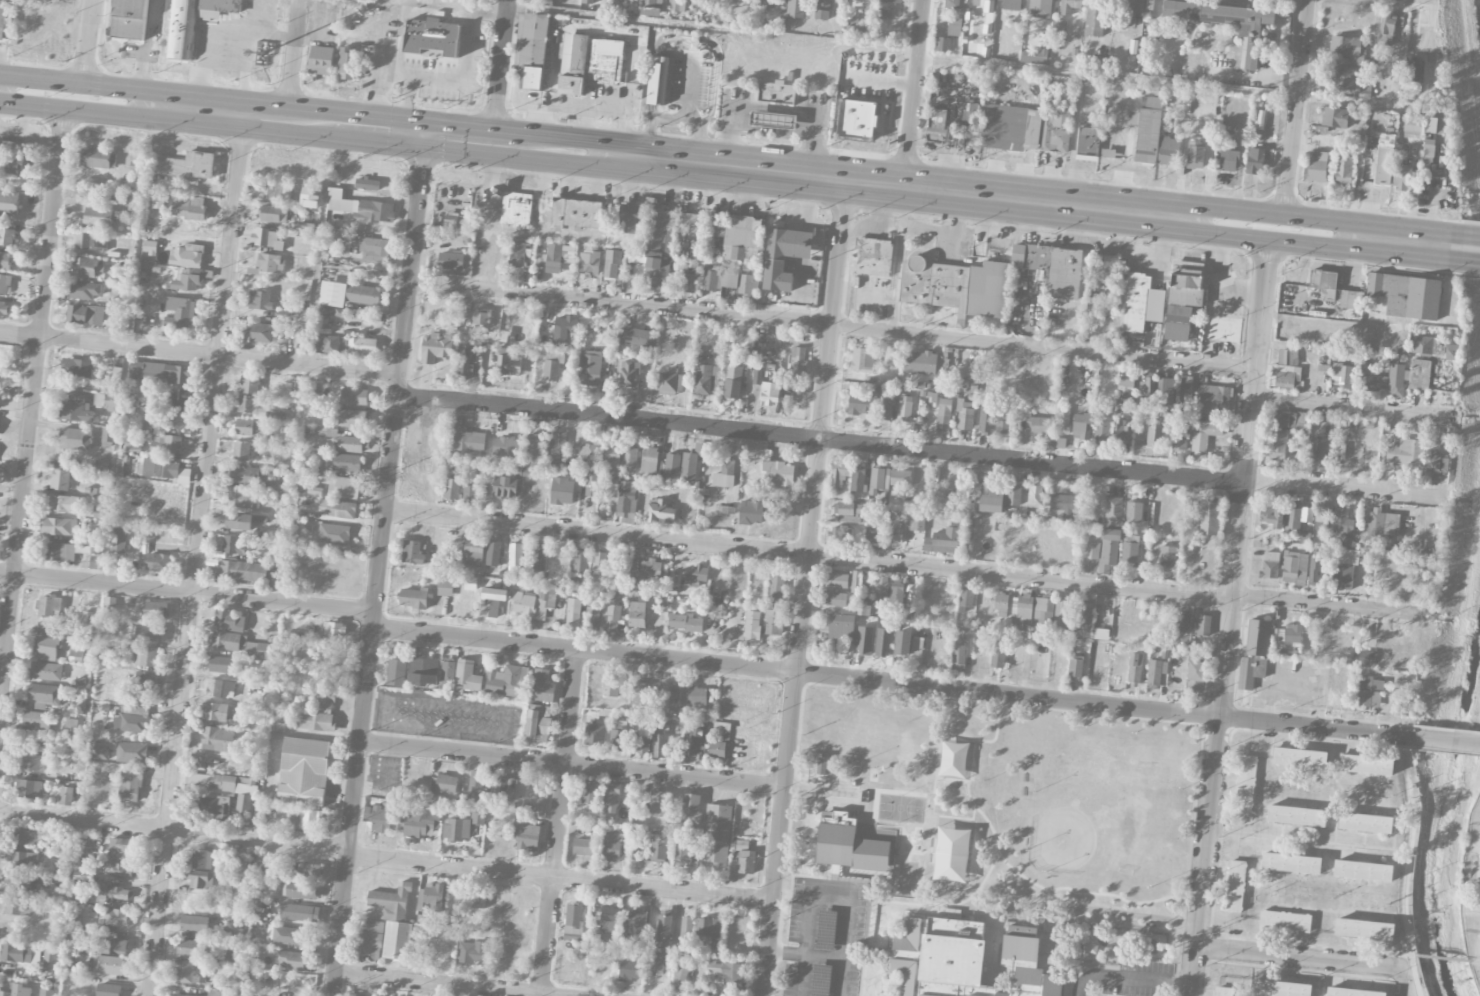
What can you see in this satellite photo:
building: (628, 0)
building: (891, 1)
building: (588, 2)
building: (767, 3)
building: (952, 4)
building: (677, 5)
building: (984, 5)
building: (1011, 5)
building: (1069, 6)
building: (1041, 8)
building: (795, 9)
building: (823, 10)
building: (1130, 10)
building: (650, 12)
building: (3, 18)
building: (129, 20)
building: (1093, 21)
building: (193, 23)
building: (954, 27)
building: (1059, 27)
building: (1249, 30)
building: (1386, 30)
building: (432, 37)
building: (942, 45)
building: (1348, 48)
road: (89, 50)
building: (532, 50)
road: (913, 55)
building: (1039, 56)
road: (293, 61)
building: (320, 61)
building: (590, 63)
building: (1415, 70)
building: (347, 71)
road: (500, 72)
building: (1344, 78)
building: (658, 81)
road: (448, 83)
building: (1364, 90)
building: (777, 93)
road: (915, 94)
building: (1064, 97)
building: (1151, 101)
road: (568, 105)
road: (1296, 106)
building: (969, 116)
road: (623, 117)
building: (1335, 117)
road: (678, 121)
building: (774, 121)
building: (938, 124)
building: (1430, 125)
building: (1012, 127)
building: (1413, 127)
building: (1056, 130)
building: (1146, 134)
building: (1088, 142)
building: (9, 147)
building: (1169, 151)
building: (1107, 153)
building: (1195, 154)
road: (594, 156)
building: (98, 159)
building: (1385, 159)
building: (1229, 160)
building: (1255, 160)
building: (1430, 161)
building: (10, 166)
building: (187, 166)
building: (1317, 166)
building: (1343, 169)
building: (1402, 176)
building: (367, 184)
building: (270, 193)
building: (310, 199)
building: (9, 203)
building: (158, 203)
building: (361, 208)
building: (190, 209)
building: (516, 210)
road: (1282, 212)
building: (576, 214)
building: (271, 215)
building: (100, 217)
building: (454, 220)
building: (629, 220)
building: (688, 220)
building: (659, 227)
building: (7, 235)
building: (266, 239)
building: (90, 242)
road: (1278, 243)
road: (1411, 244)
building: (669, 245)
building: (716, 246)
building: (149, 247)
building: (375, 250)
road: (1465, 250)
building: (730, 251)
building: (517, 255)
building: (186, 256)
building: (784, 257)
building: (874, 258)
building: (549, 259)
building: (5, 261)
building: (451, 261)
building: (590, 261)
road: (899, 261)
building: (269, 263)
building: (612, 264)
building: (1107, 266)
building: (87, 267)
building: (1052, 267)
building: (657, 272)
building: (119, 278)
building: (187, 282)
building: (1324, 283)
building: (4, 284)
building: (688, 284)
building: (748, 286)
building: (956, 286)
building: (1185, 290)
building: (85, 291)
building: (333, 295)
building: (365, 295)
building: (1407, 295)
building: (1351, 299)
building: (260, 301)
building: (1136, 302)
building: (4, 310)
building: (180, 313)
building: (85, 315)
building: (481, 318)
building: (1177, 323)
road: (833, 326)
building: (565, 329)
building: (1223, 329)
building: (259, 333)
building: (637, 340)
building: (297, 342)
building: (329, 345)
building: (1424, 345)
building: (361, 347)
building: (435, 349)
building: (1451, 352)
road: (199, 354)
building: (1287, 357)
building: (862, 360)
building: (797, 362)
building: (463, 363)
building: (508, 363)
building: (922, 363)
building: (118, 366)
building: (77, 368)
building: (592, 369)
building: (551, 370)
building: (160, 373)
building: (629, 374)
building: (1418, 374)
building: (1340, 376)
building: (757, 377)
building: (1285, 377)
building: (1370, 378)
building: (707, 380)
building: (1396, 380)
building: (733, 382)
building: (671, 384)
building: (249, 385)
building: (1105, 386)
building: (971, 388)
building: (1126, 388)
building: (1146, 389)
building: (1184, 392)
building: (770, 394)
building: (1166, 395)
building: (354, 397)
building: (177, 398)
building: (1214, 399)
building: (105, 400)
road: (31, 401)
building: (862, 405)
road: (1354, 407)
building: (886, 408)
building: (905, 409)
building: (75, 410)
building: (257, 410)
building: (944, 414)
building: (964, 415)
building: (1061, 415)
building: (986, 416)
building: (352, 419)
building: (1290, 419)
building: (175, 421)
building: (1002, 424)
building: (1040, 425)
building: (1081, 426)
building: (244, 428)
building: (1102, 431)
building: (1123, 432)
building: (1204, 434)
building: (107, 438)
building: (74, 439)
road: (821, 440)
building: (1178, 440)
building: (469, 441)
building: (1057, 441)
building: (166, 444)
building: (352, 444)
building: (1278, 446)
building: (505, 447)
building: (1318, 448)
building: (134, 450)
building: (556, 450)
building: (533, 451)
building: (241, 452)
building: (1405, 453)
building: (588, 457)
building: (629, 458)
building: (612, 459)
building: (651, 462)
building: (1436, 462)
road: (115, 464)
building: (347, 464)
building: (101, 467)
building: (689, 467)
building: (158, 469)
building: (318, 469)
building: (671, 469)
building: (779, 474)
building: (725, 475)
building: (839, 475)
building: (248, 476)
building: (900, 478)
building: (857, 479)
building: (60, 480)
building: (591, 480)
road: (1246, 480)
building: (879, 481)
building: (505, 487)
road: (1346, 487)
building: (347, 488)
building: (451, 489)
building: (562, 492)
building: (1014, 492)
building: (469, 494)
building: (988, 496)
building: (1034, 497)
building: (240, 499)
building: (626, 503)
building: (63, 504)
building: (1062, 506)
building: (1113, 509)
building: (337, 510)
building: (660, 512)
building: (1134, 512)
building: (751, 513)
building: (849, 513)
building: (1271, 515)
building: (1209, 517)
building: (1322, 517)
building: (1293, 518)
building: (243, 521)
building: (915, 522)
building: (1383, 522)
building: (60, 527)
building: (1343, 527)
building: (873, 529)
building: (841, 533)
building: (334, 535)
building: (898, 535)
building: (117, 540)
building: (942, 542)
building: (231, 545)
building: (1104, 550)
building: (59, 553)
building: (412, 553)
building: (492, 554)
building: (1129, 554)
building: (473, 555)
road: (809, 555)
road: (196, 556)
building: (1167, 556)
building: (515, 557)
building: (538, 558)
road: (284, 561)
building: (157, 563)
building: (580, 563)
building: (599, 563)
building: (1270, 565)
road: (379, 566)
building: (1315, 567)
building: (1294, 568)
building: (1345, 569)
building: (247, 573)
building: (648, 573)
building: (694, 577)
building: (835, 581)
building: (470, 584)
building: (776, 588)
building: (444, 589)
road: (804, 589)
road: (187, 594)
building: (881, 594)
building: (896, 596)
building: (414, 598)
building: (966, 598)
building: (833, 600)
building: (492, 602)
building: (533, 602)
building: (109, 603)
building: (1001, 604)
road: (1327, 604)
building: (49, 606)
building: (863, 609)
building: (155, 610)
building: (1021, 610)
building: (1043, 612)
building: (1063, 612)
building: (573, 613)
building: (1086, 613)
building: (637, 615)
building: (87, 618)
building: (591, 619)
building: (612, 620)
building: (229, 621)
building: (1183, 622)
building: (684, 623)
building: (773, 623)
building: (1203, 624)
building: (752, 625)
building: (839, 627)
building: (333, 630)
building: (1292, 633)
building: (149, 634)
building: (1100, 634)
building: (1257, 637)
building: (902, 643)
building: (883, 644)
building: (240, 645)
building: (917, 645)
building: (45, 649)
building: (959, 654)
building: (76, 657)
building: (146, 657)
building: (997, 658)
building: (222, 665)
building: (1075, 668)
building: (1135, 668)
building: (423, 671)
building: (45, 672)
building: (1155, 672)
building: (396, 673)
building: (447, 673)
building: (1248, 673)
building: (1194, 674)
building: (468, 676)
building: (147, 681)
building: (504, 681)
road: (896, 684)
building: (542, 687)
building: (610, 688)
building: (220, 689)
building: (1370, 692)
building: (641, 694)
building: (45, 695)
building: (697, 696)
building: (673, 699)
building: (322, 700)
building: (215, 712)
building: (134, 720)
building: (37, 721)
building: (315, 722)
building: (71, 726)
building: (538, 727)
building: (594, 734)
road: (961, 738)
building: (218, 740)
building: (618, 740)
road: (1450, 740)
building: (643, 741)
building: (694, 742)
building: (659, 746)
building: (717, 750)
building: (99, 752)
building: (132, 753)
building: (1299, 758)
building: (954, 759)
building: (36, 764)
road: (572, 764)
building: (1366, 764)
building: (821, 765)
building: (303, 772)
road: (951, 779)
building: (476, 780)
building: (1245, 781)
building: (446, 784)
building: (130, 786)
building: (226, 788)
building: (28, 789)
building: (506, 790)
building: (589, 793)
building: (66, 796)
building: (612, 799)
building: (659, 804)
building: (213, 806)
park: (901, 808)
building: (690, 810)
park: (1089, 814)
building: (1296, 815)
road: (38, 817)
building: (477, 818)
park: (980, 818)
building: (307, 820)
building: (381, 821)
road: (559, 821)
building: (1366, 823)
building: (418, 825)
building: (456, 831)
road: (213, 834)
building: (717, 834)
building: (525, 835)
building: (27, 837)
road: (1305, 841)
building: (742, 845)
building: (848, 845)
building: (612, 846)
building: (584, 847)
building: (659, 847)
building: (122, 848)
building: (683, 854)
building: (952, 855)
road: (1206, 856)
building: (24, 860)
building: (202, 860)
building: (746, 863)
road: (1407, 866)
building: (117, 870)
building: (309, 870)
building: (1363, 871)
building: (261, 875)
road: (560, 879)
building: (201, 880)
building: (13, 883)
building: (1234, 886)
building: (300, 891)
building: (111, 893)
road: (973, 893)
road: (1091, 894)
road: (830, 895)
building: (434, 897)
building: (479, 900)
building: (391, 902)
building: (19, 907)
building: (296, 913)
building: (115, 918)
building: (609, 919)
building: (1285, 921)
building: (573, 922)
building: (637, 922)
building: (194, 924)
building: (1364, 929)
building: (686, 931)
building: (708, 933)
building: (663, 934)
building: (283, 936)
parking lot: (818, 936)
building: (370, 941)
building: (397, 941)
building: (110, 947)
building: (188, 948)
building: (472, 952)
building: (20, 954)
road: (806, 955)
building: (939, 957)
road: (1301, 958)
road: (1407, 959)
road: (1442, 959)
building: (49, 961)
building: (289, 961)
building: (1027, 964)
building: (108, 965)
road: (1479, 965)
building: (655, 968)
building: (629, 971)
building: (188, 973)
building: (681, 975)
building: (729, 975)
road: (1479, 977)
road: (1129, 978)
building: (821, 980)
road: (1404, 982)
road: (438, 985)
building: (1279, 988)
building: (108, 990)
building: (17, 991)
building: (1222, 991)
building: (1353, 992)
building: (46, 993)
building: (219, 993)
building: (1001, 994)
building: (181, 995)
building: (968, 995)

